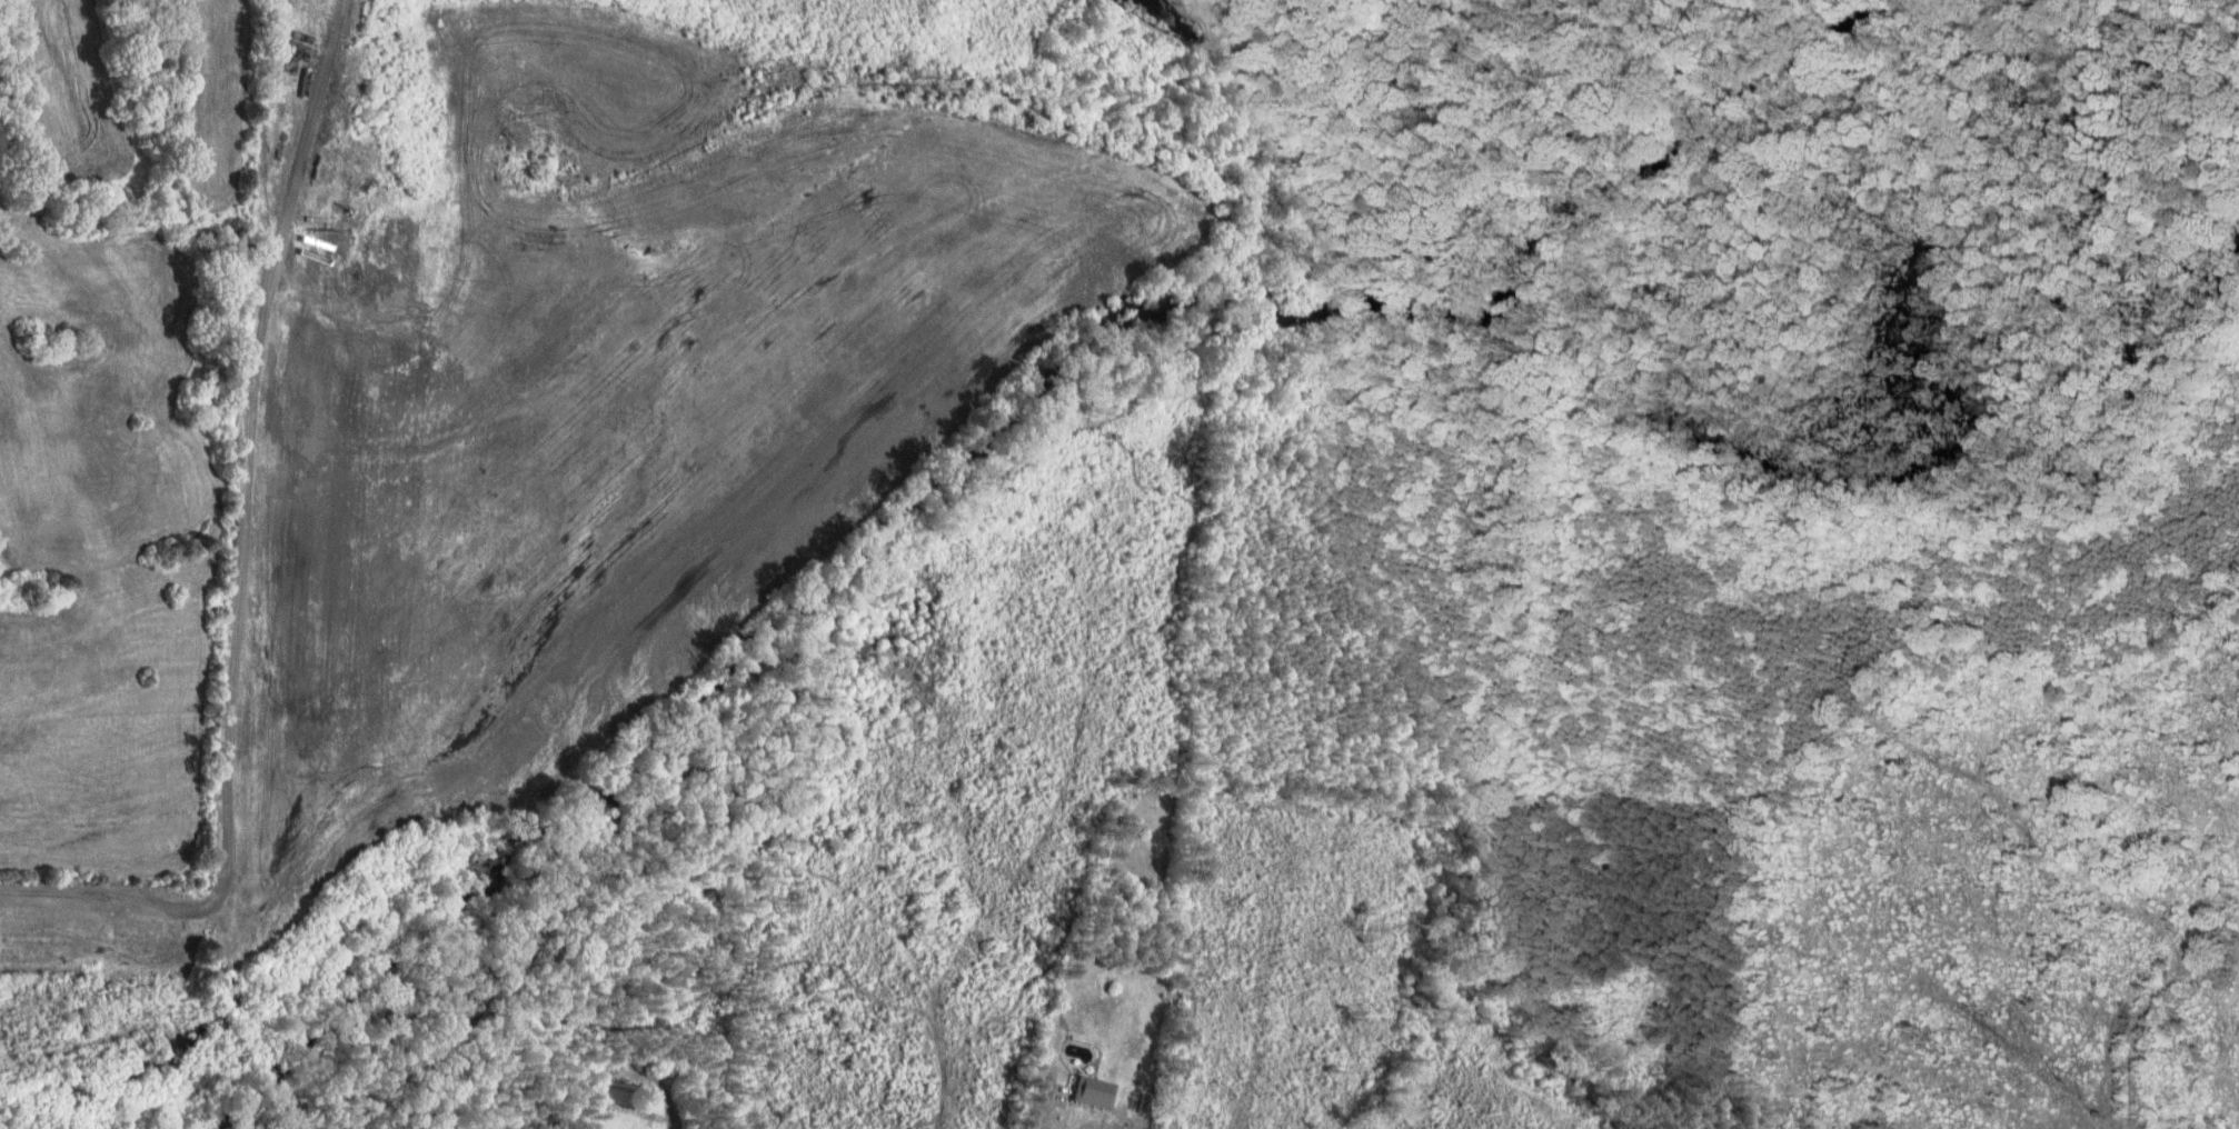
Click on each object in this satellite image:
road: (243, 558)
building: (1089, 1091)
road: (1034, 1103)

